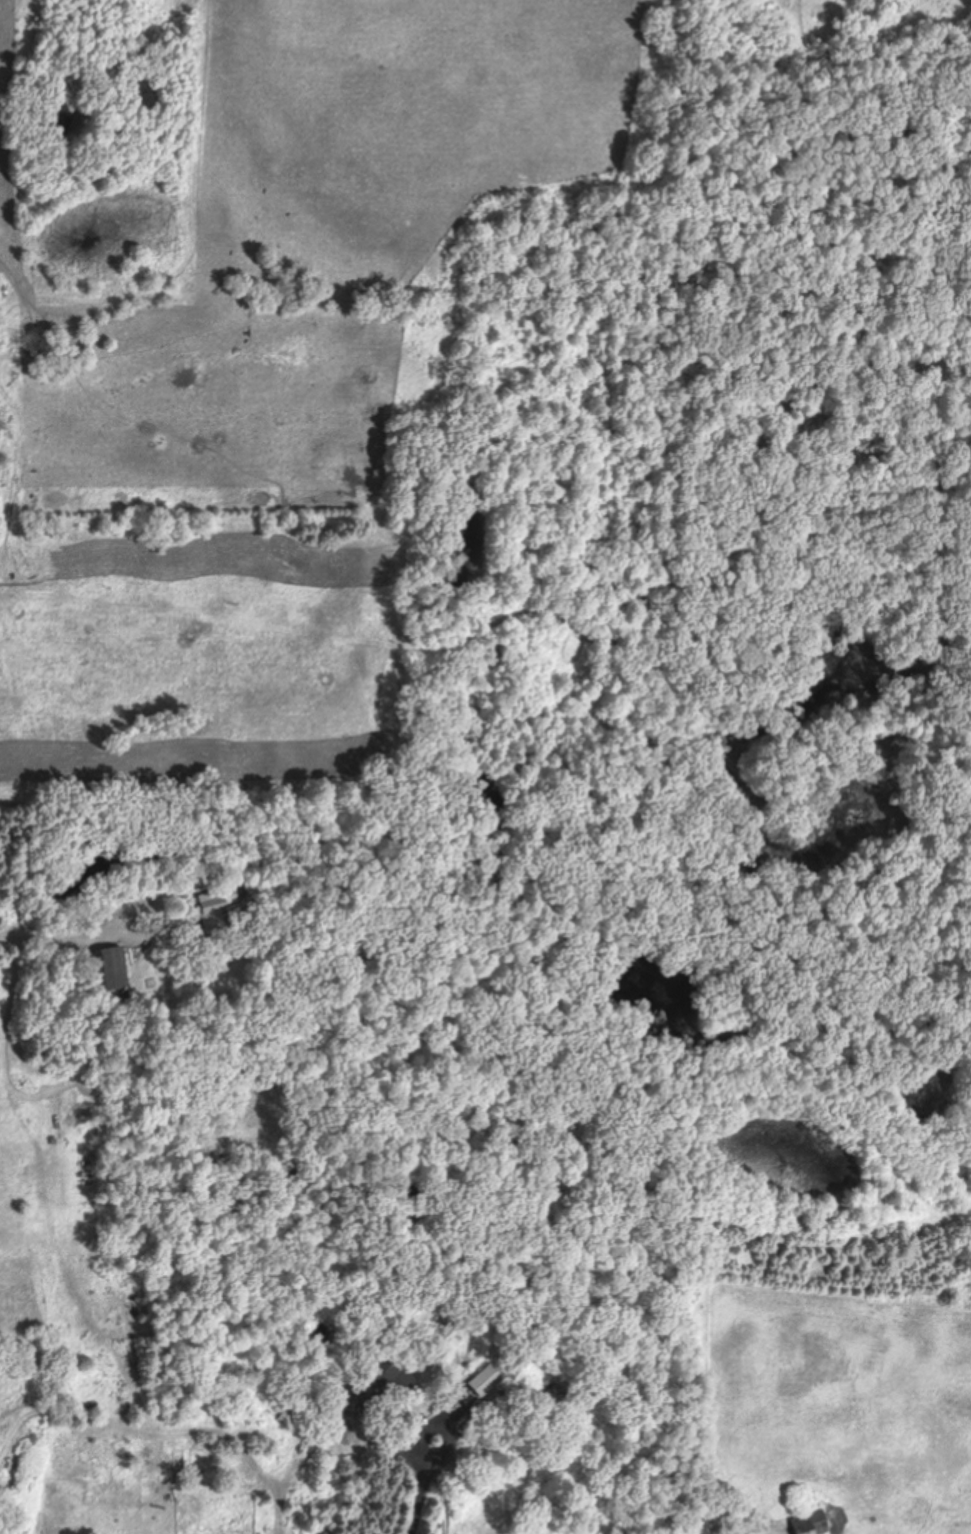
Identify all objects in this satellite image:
building: (212, 909)
building: (108, 970)
building: (481, 1382)
building: (374, 1386)
building: (286, 1417)
building: (188, 1479)
building: (808, 1524)

